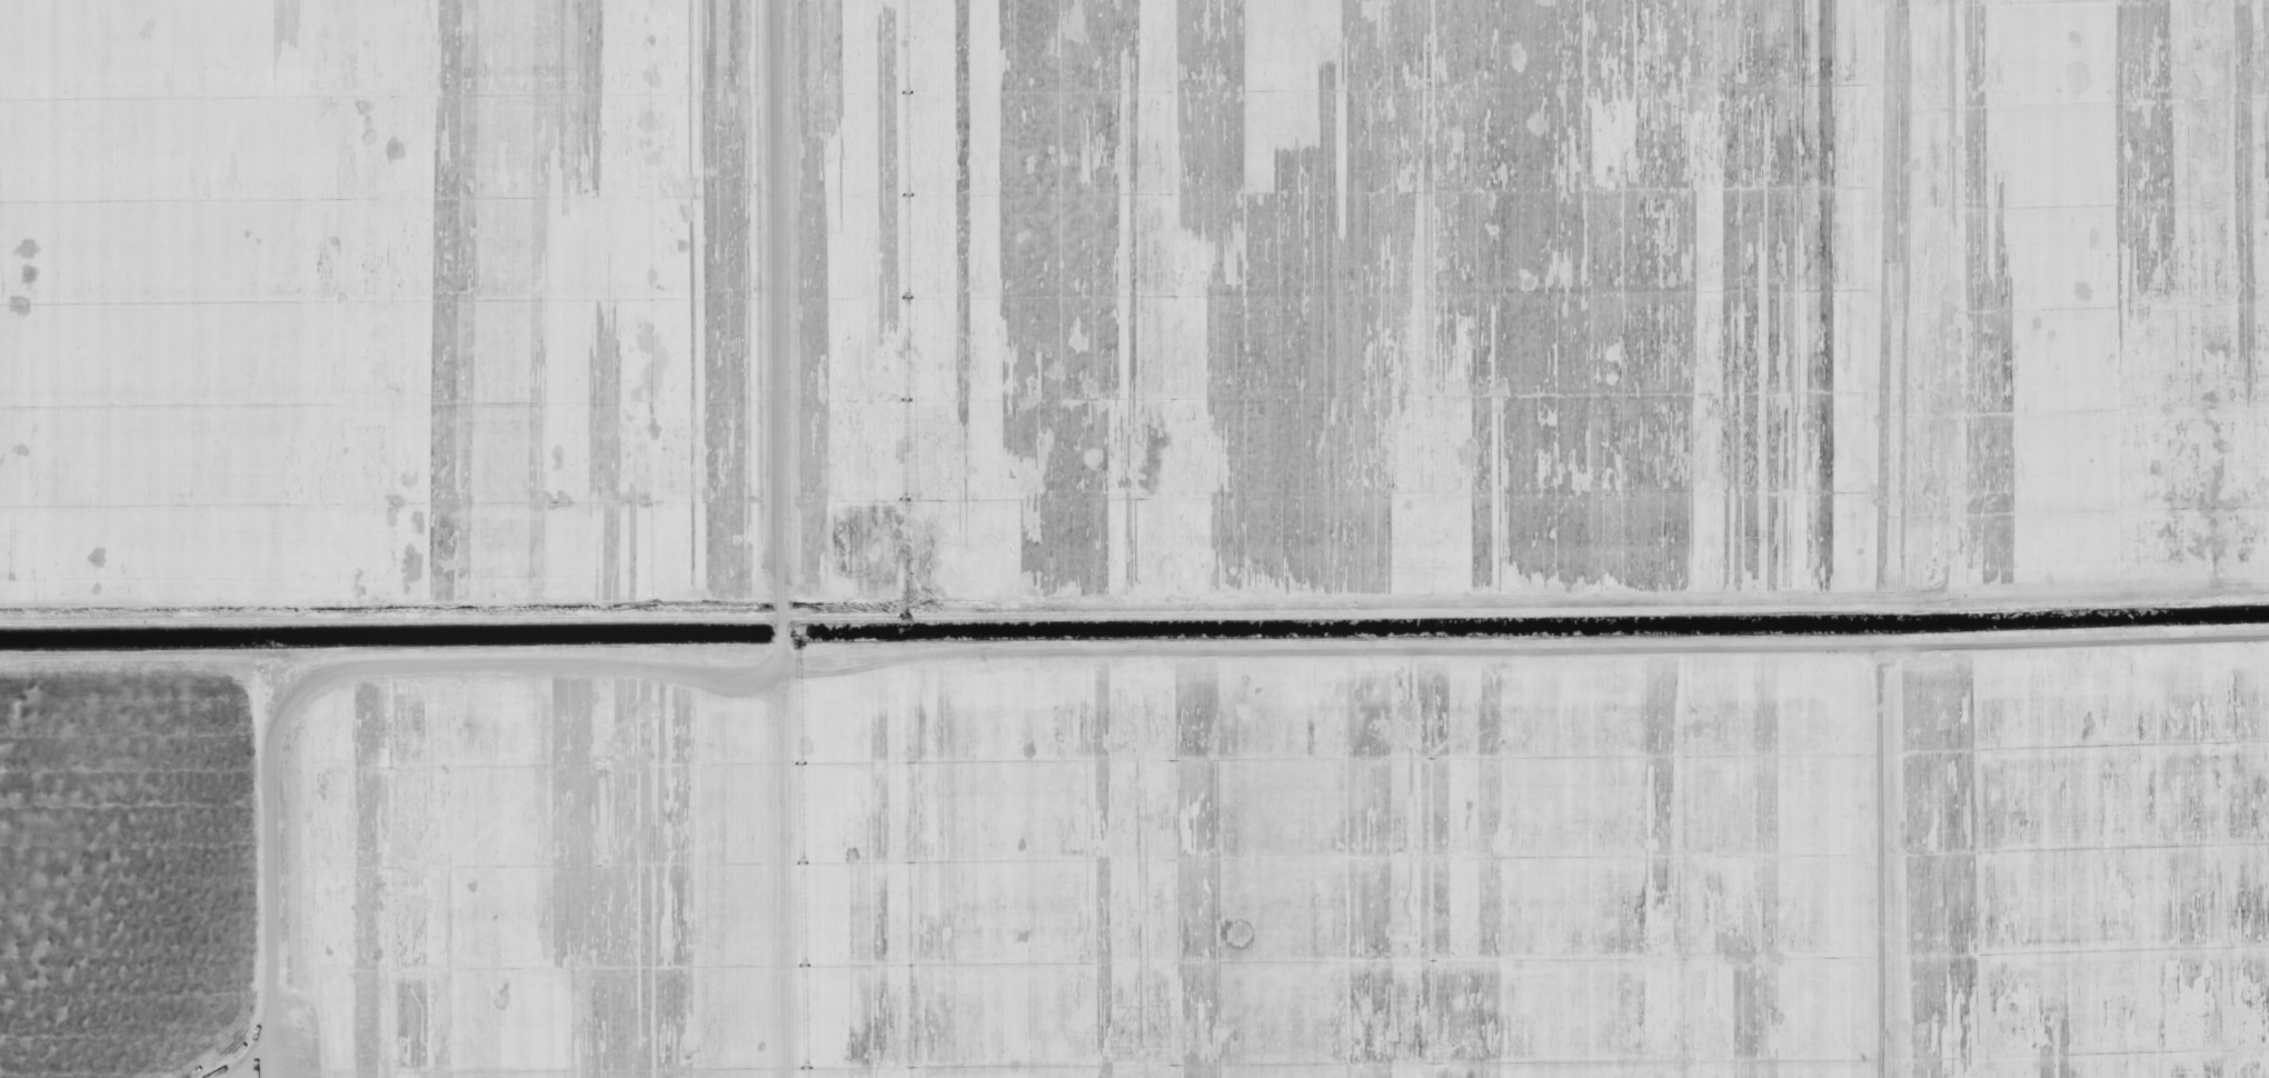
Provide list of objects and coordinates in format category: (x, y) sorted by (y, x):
road: (770, 335)
road: (1069, 659)

